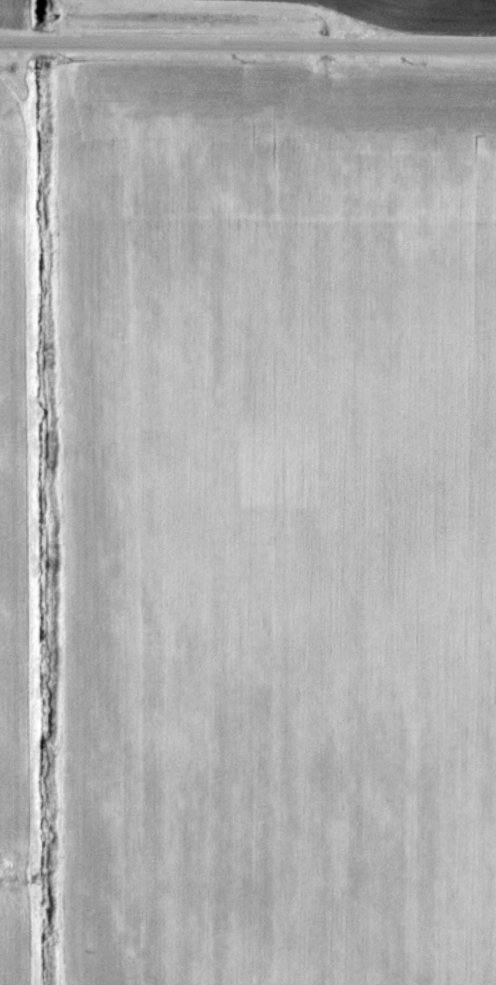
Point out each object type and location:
road: (248, 46)

